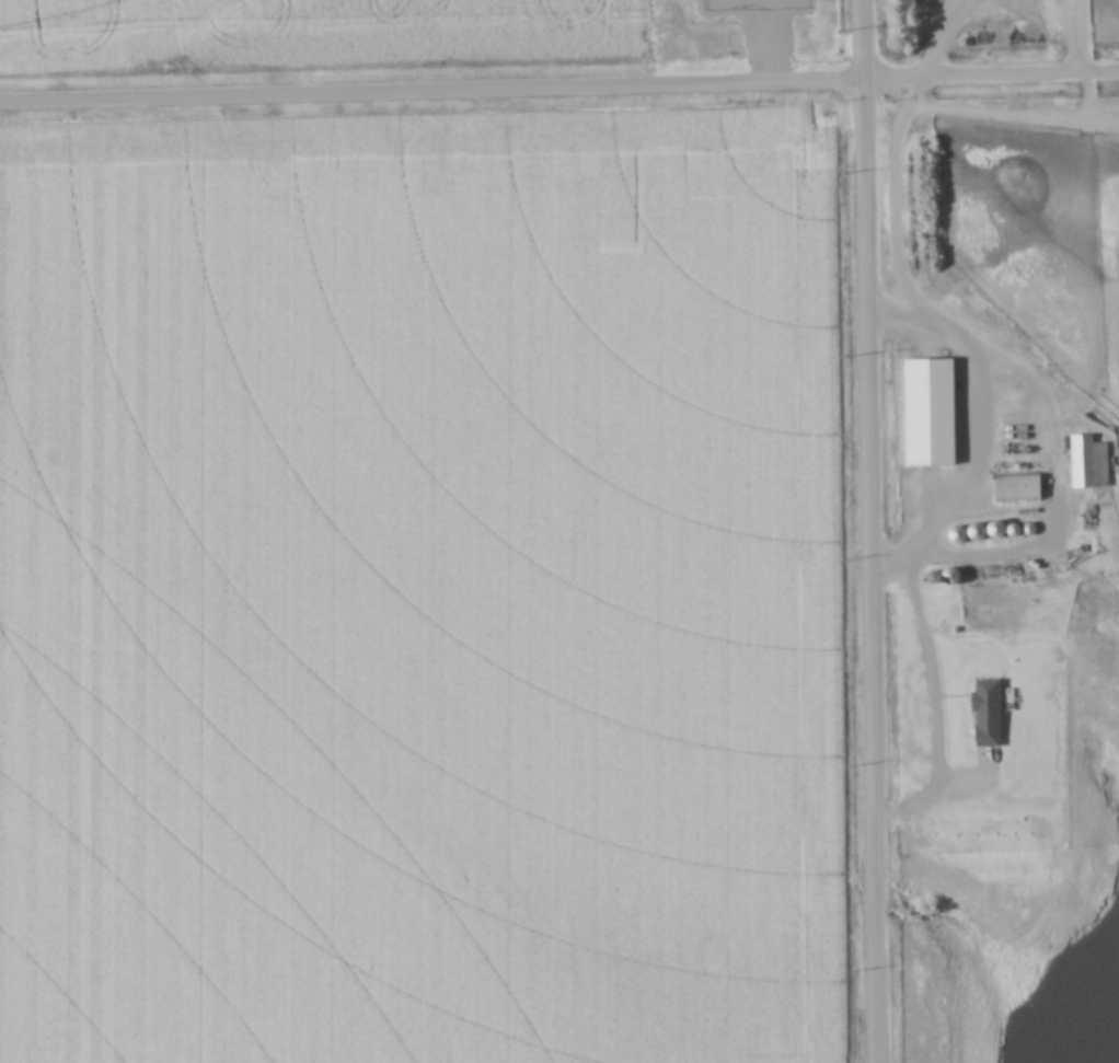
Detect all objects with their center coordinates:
building: (754, 5)
road: (938, 36)
road: (559, 86)
road: (1017, 363)
building: (1085, 462)
building: (1014, 487)
building: (980, 518)
silo: (980, 518)
building: (997, 519)
building: (1014, 520)
building: (961, 522)
silo: (961, 522)
building: (942, 525)
silo: (942, 525)
road: (872, 531)
building: (935, 568)
silo: (935, 568)
building: (919, 571)

